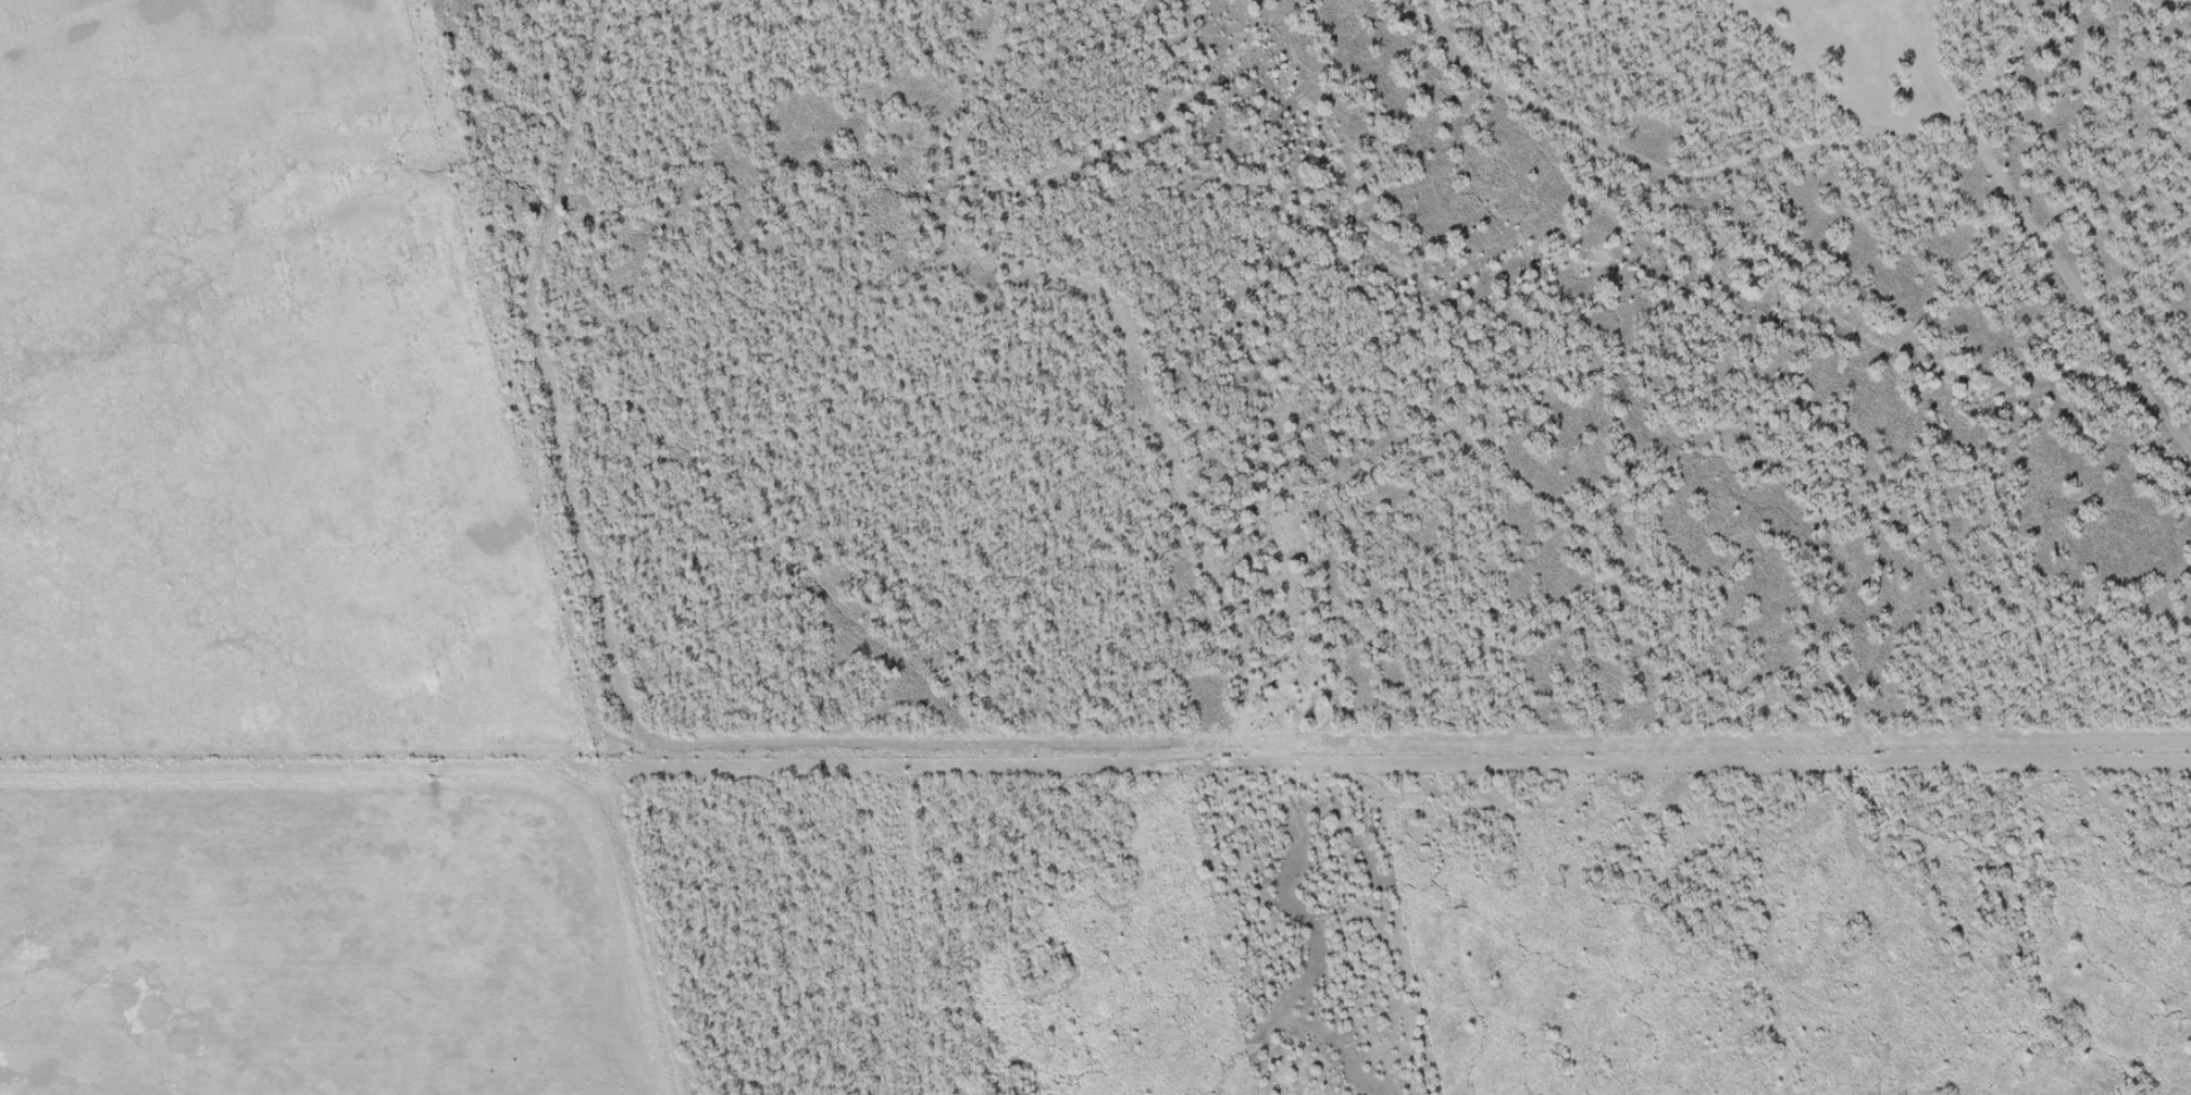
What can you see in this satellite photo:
road: (451, 771)

